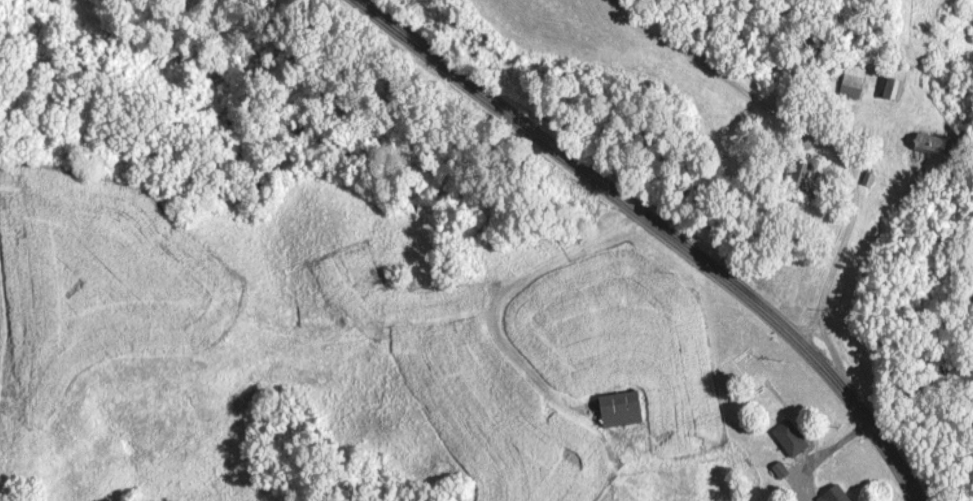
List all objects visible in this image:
building: (855, 80)
building: (897, 81)
road: (809, 132)
building: (932, 143)
building: (803, 178)
road: (657, 228)
road: (834, 357)
building: (622, 409)
building: (792, 438)
road: (819, 453)
building: (837, 494)

